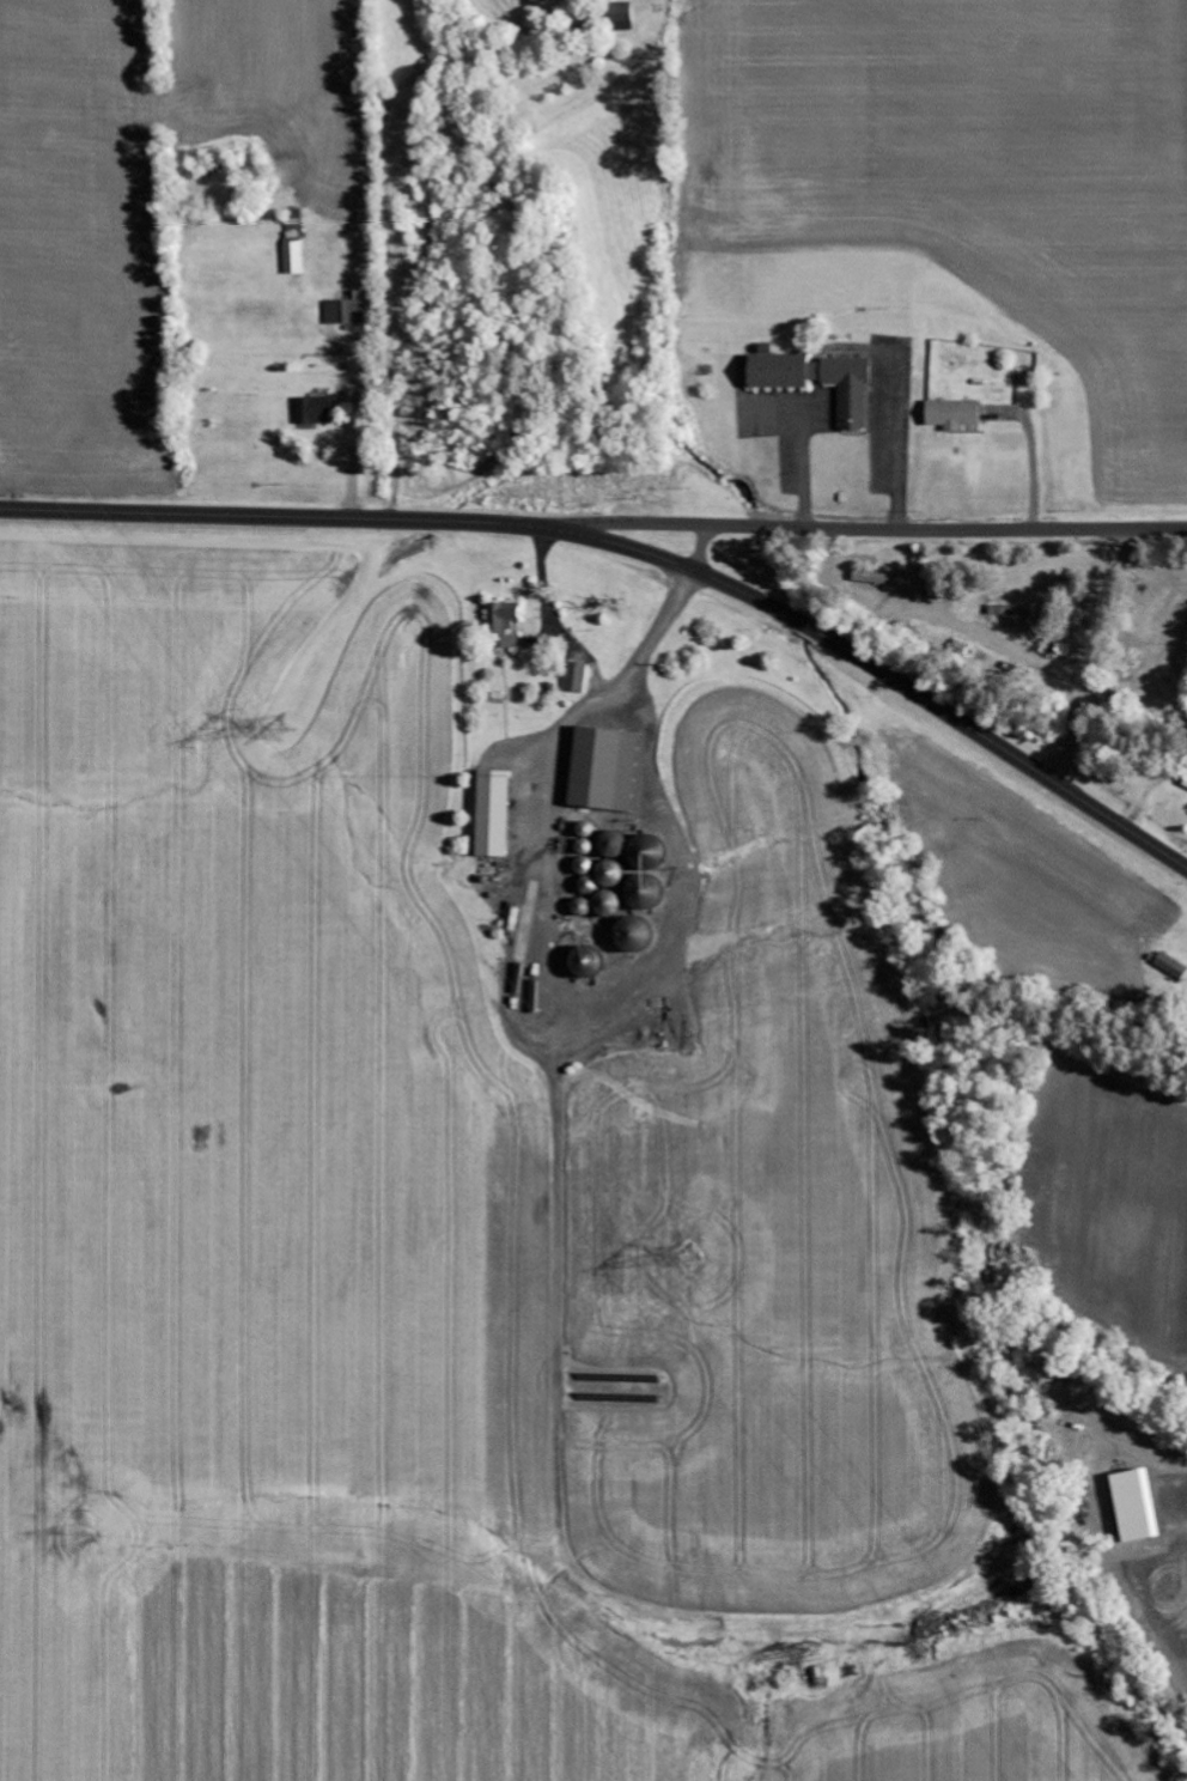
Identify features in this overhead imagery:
building: (620, 17)
road: (118, 235)
building: (294, 257)
building: (347, 310)
building: (820, 381)
building: (316, 411)
building: (954, 414)
road: (610, 524)
road: (949, 528)
road: (702, 548)
road: (634, 551)
building: (878, 579)
building: (505, 625)
building: (577, 677)
power tower: (282, 724)
building: (605, 768)
building: (493, 813)
building: (512, 918)
power tower: (693, 1256)
building: (1137, 1507)

